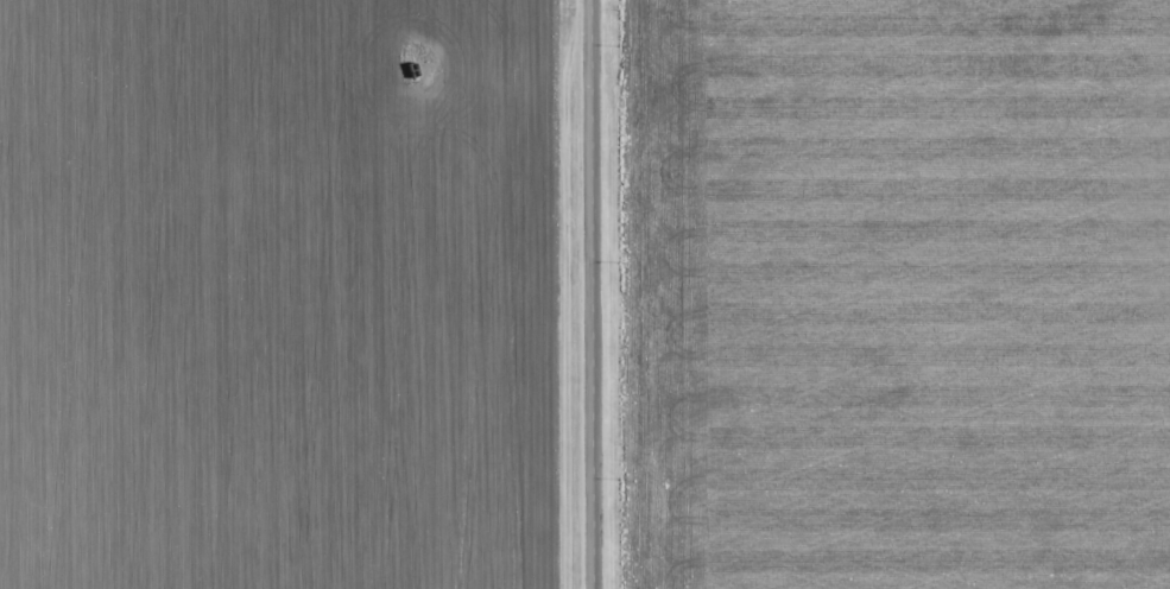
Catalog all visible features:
road: (586, 294)

